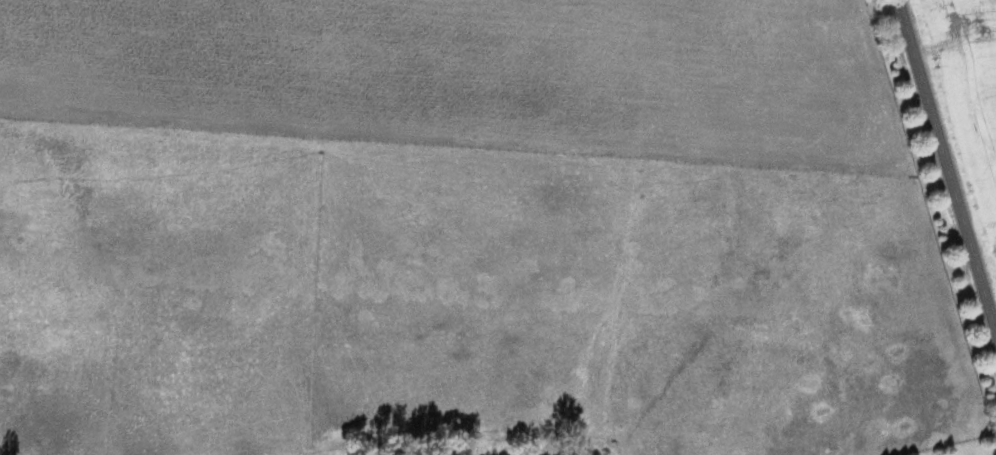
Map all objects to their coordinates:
road: (947, 163)

